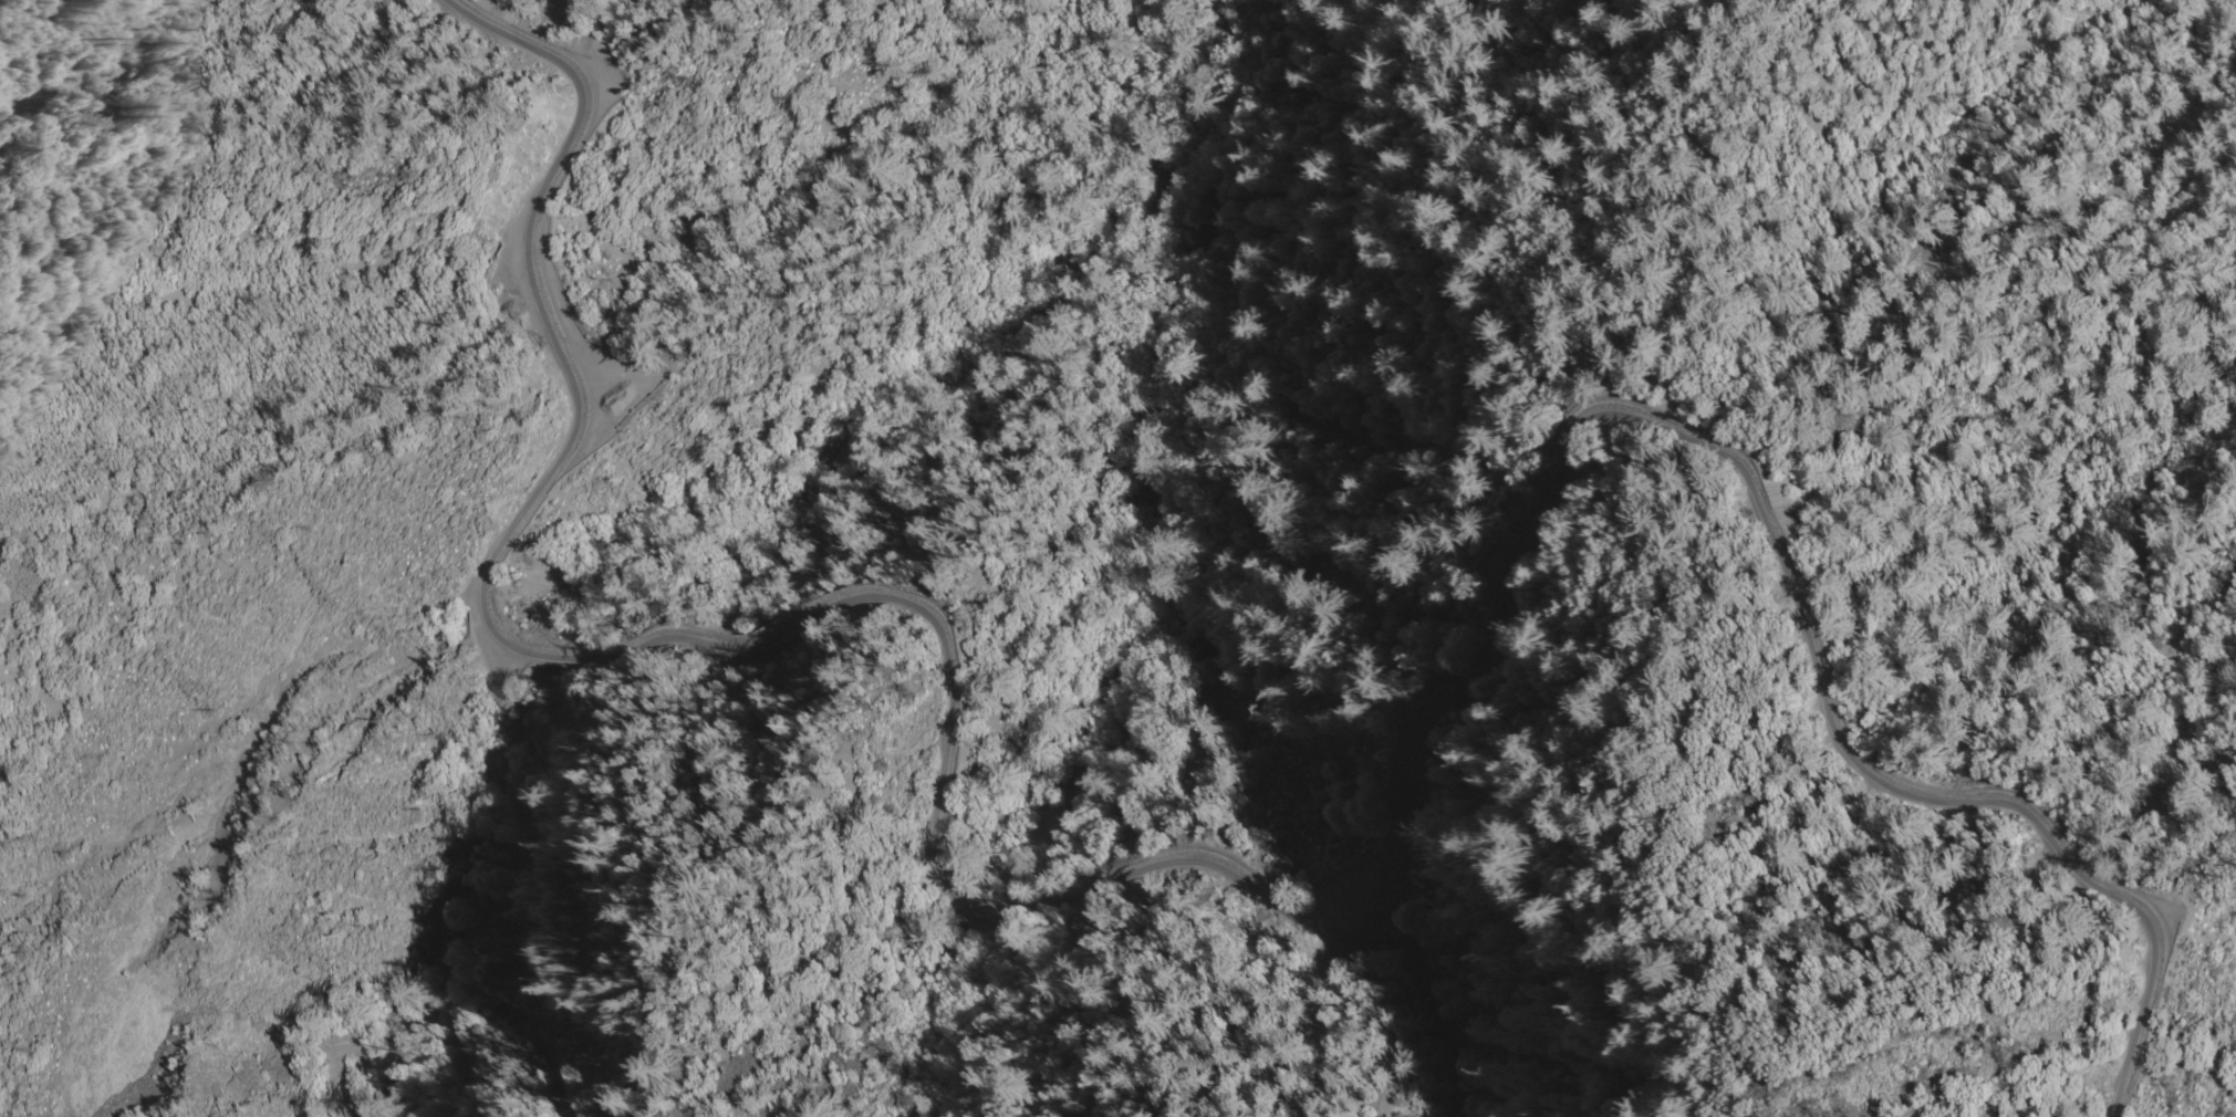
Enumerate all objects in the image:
road: (1198, 857)

